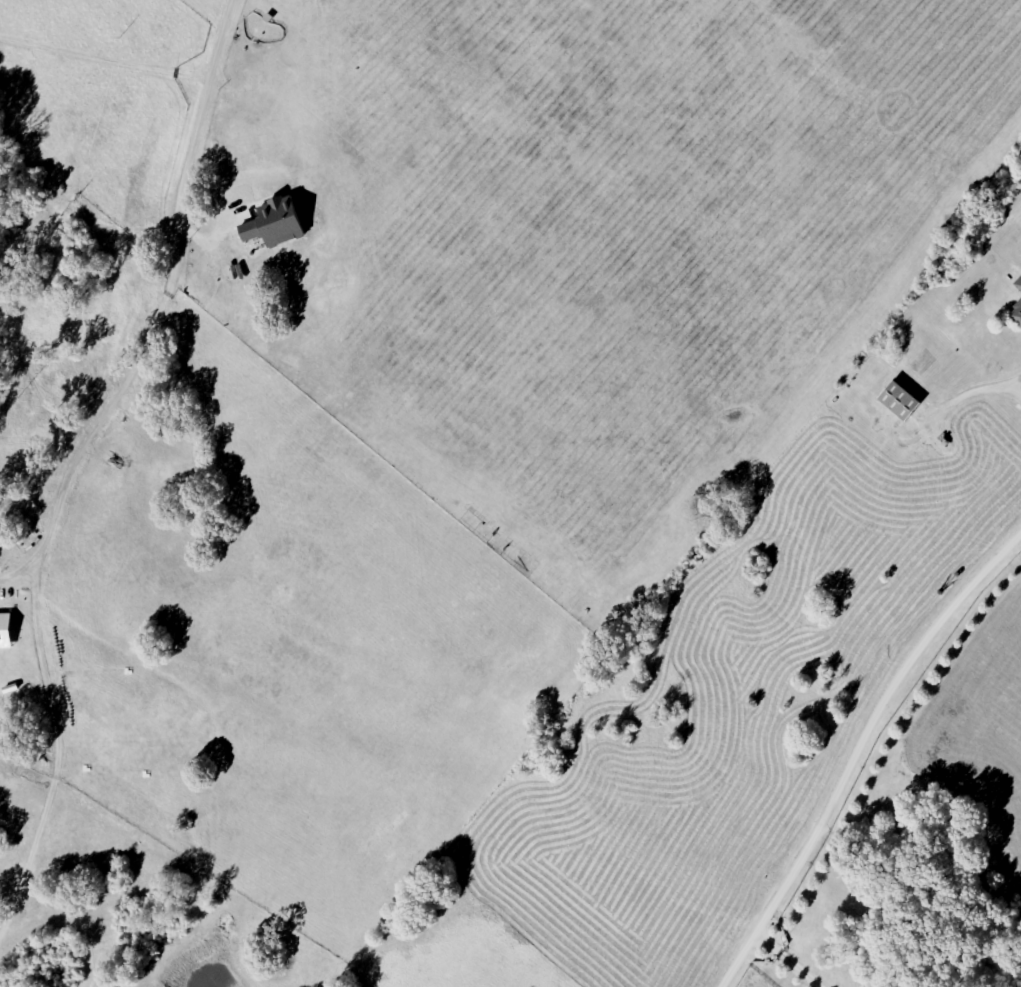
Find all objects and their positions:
building: (274, 224)
building: (1018, 285)
building: (1016, 314)
building: (900, 401)
building: (6, 632)
road: (857, 750)

